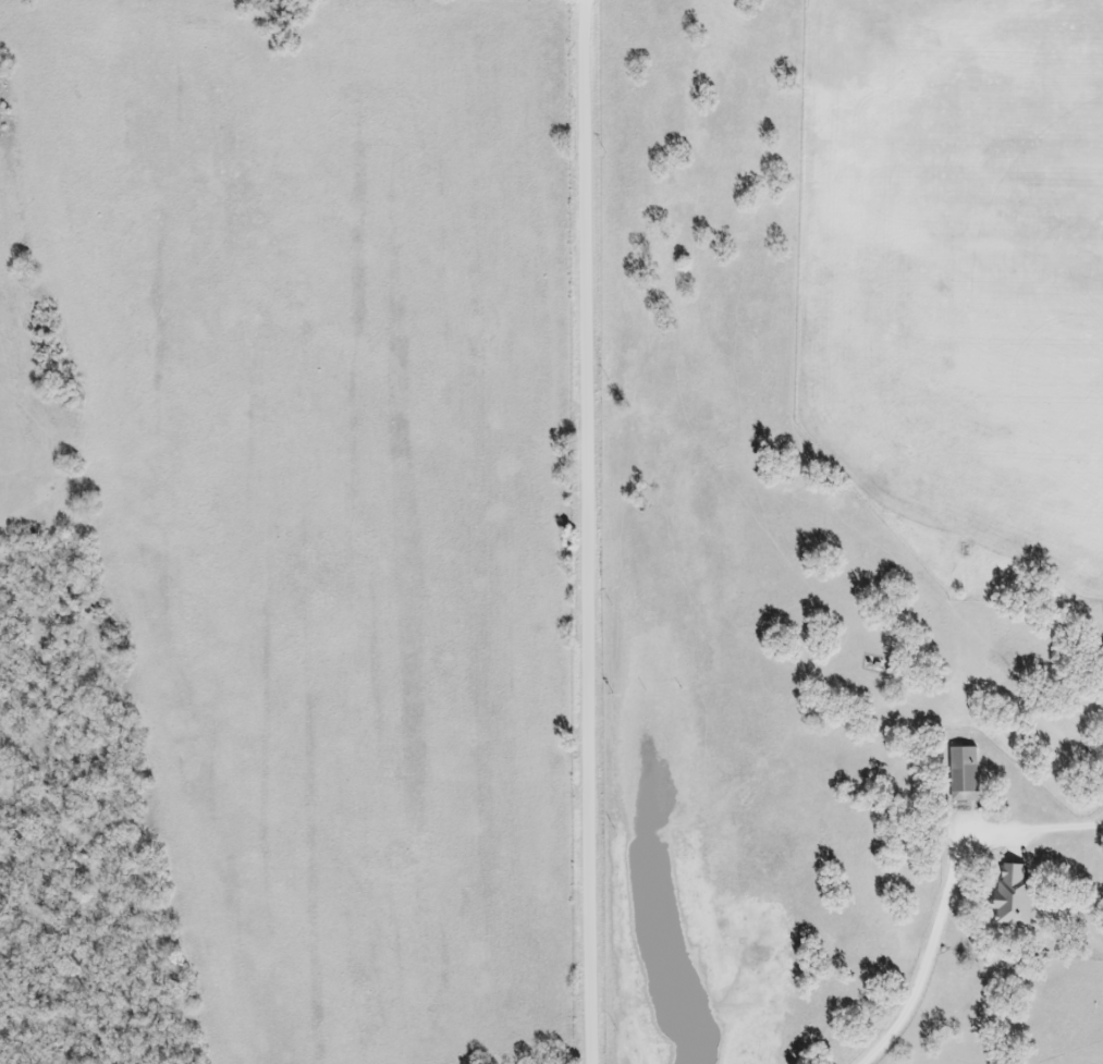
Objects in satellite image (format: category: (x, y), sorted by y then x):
road: (590, 531)
building: (963, 776)
road: (947, 888)
building: (1013, 898)

